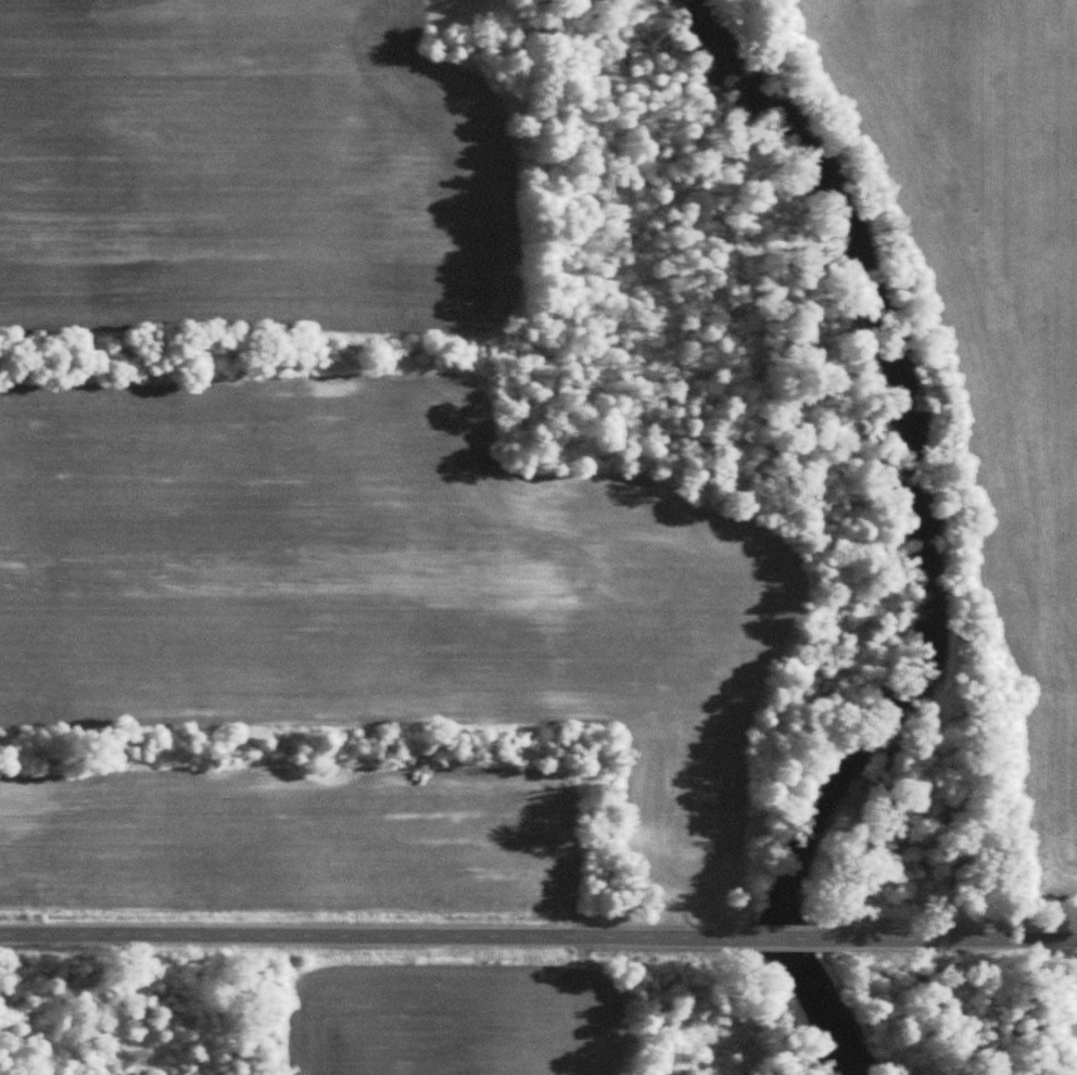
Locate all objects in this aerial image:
river: (921, 546)
road: (381, 934)
road: (826, 935)
road: (984, 936)

